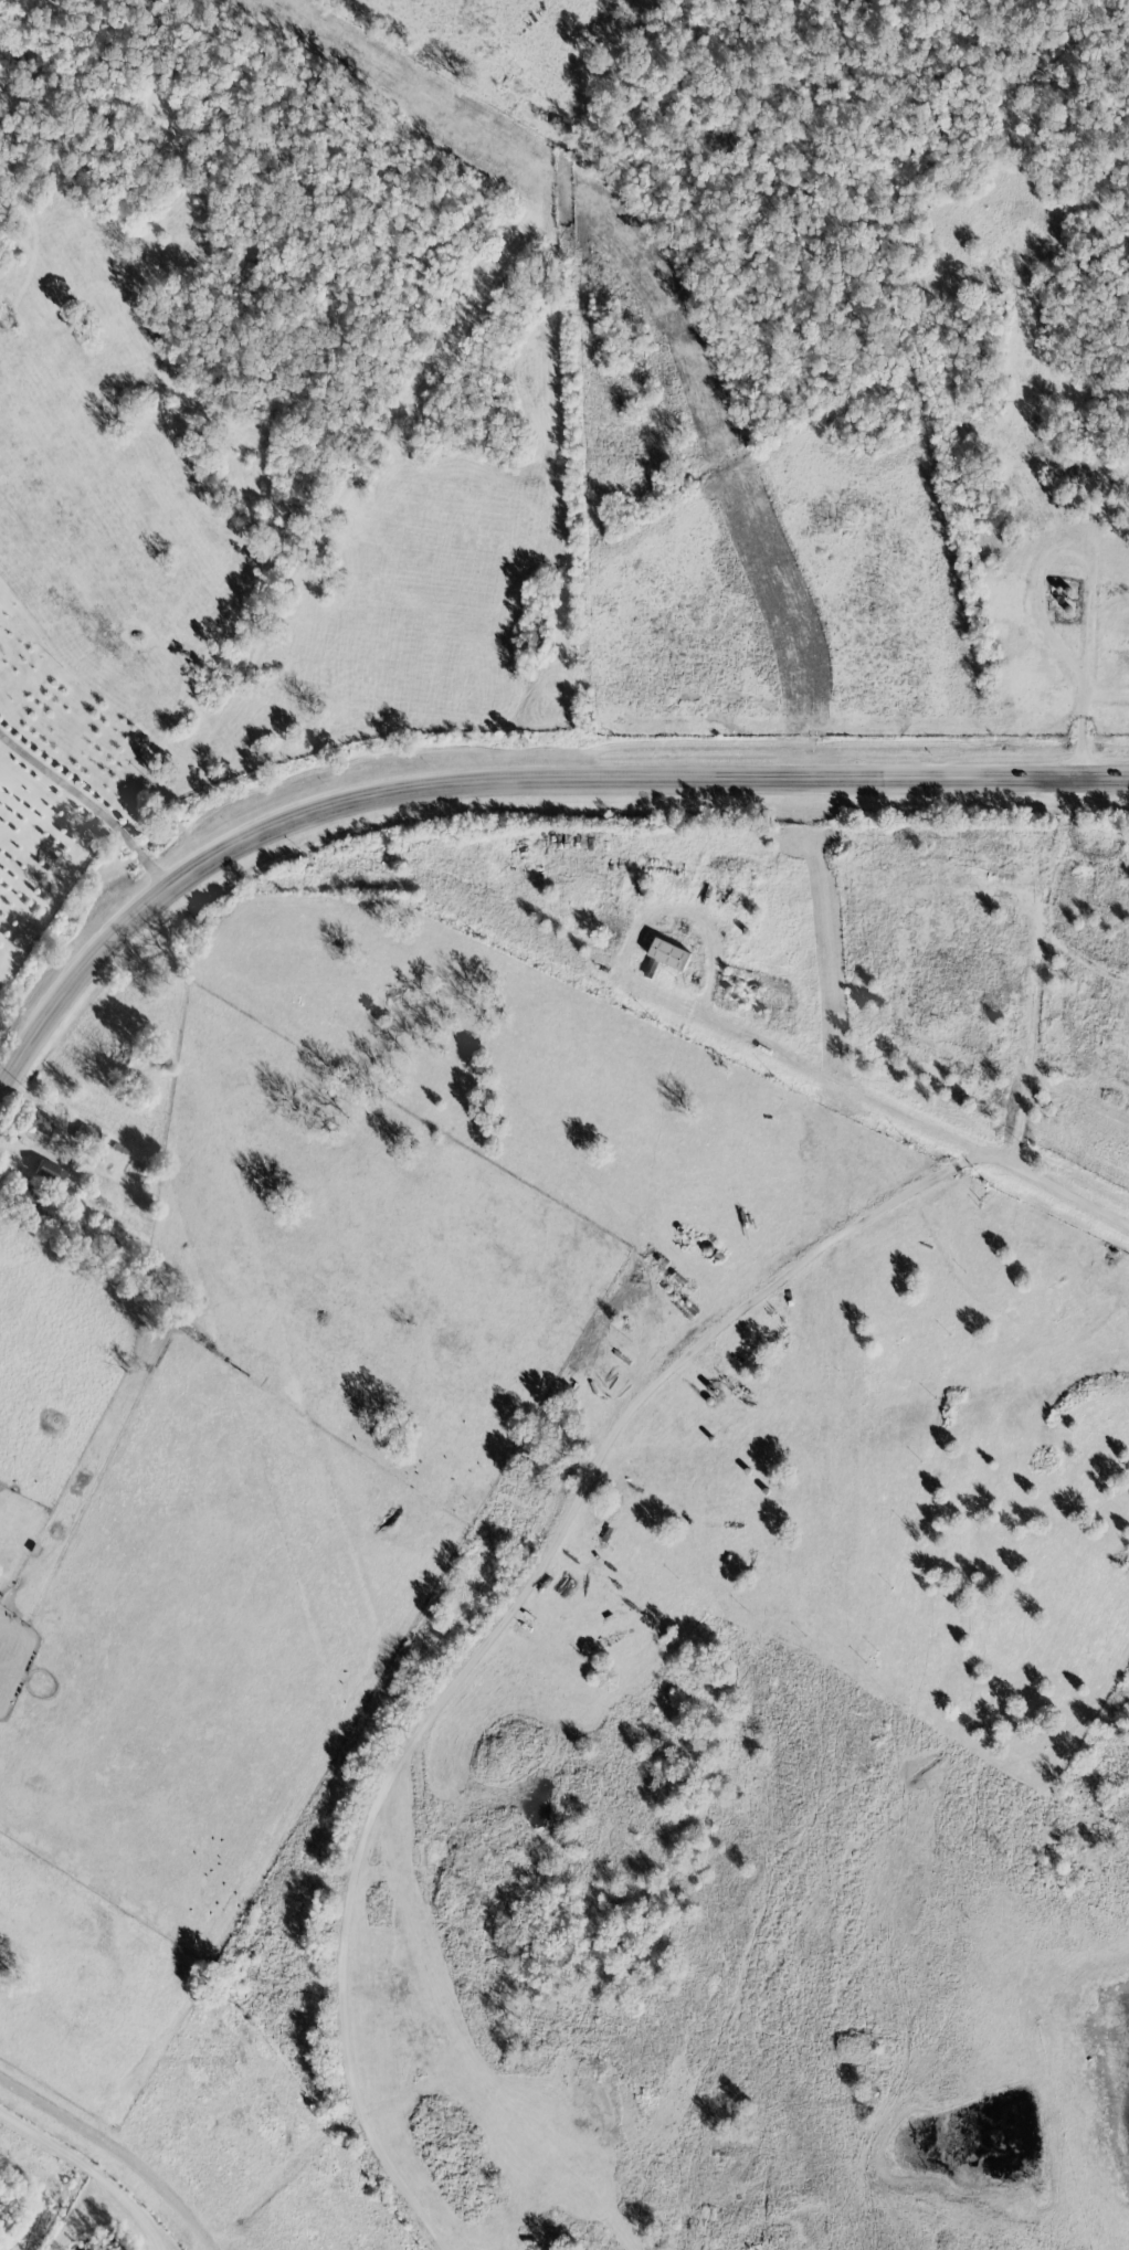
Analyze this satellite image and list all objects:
road: (1087, 570)
road: (504, 784)
road: (87, 809)
road: (1091, 867)
road: (1041, 910)
building: (668, 954)
road: (1078, 965)
road: (676, 1003)
building: (36, 1121)
building: (46, 1172)
building: (24, 1195)
road: (119, 2149)

